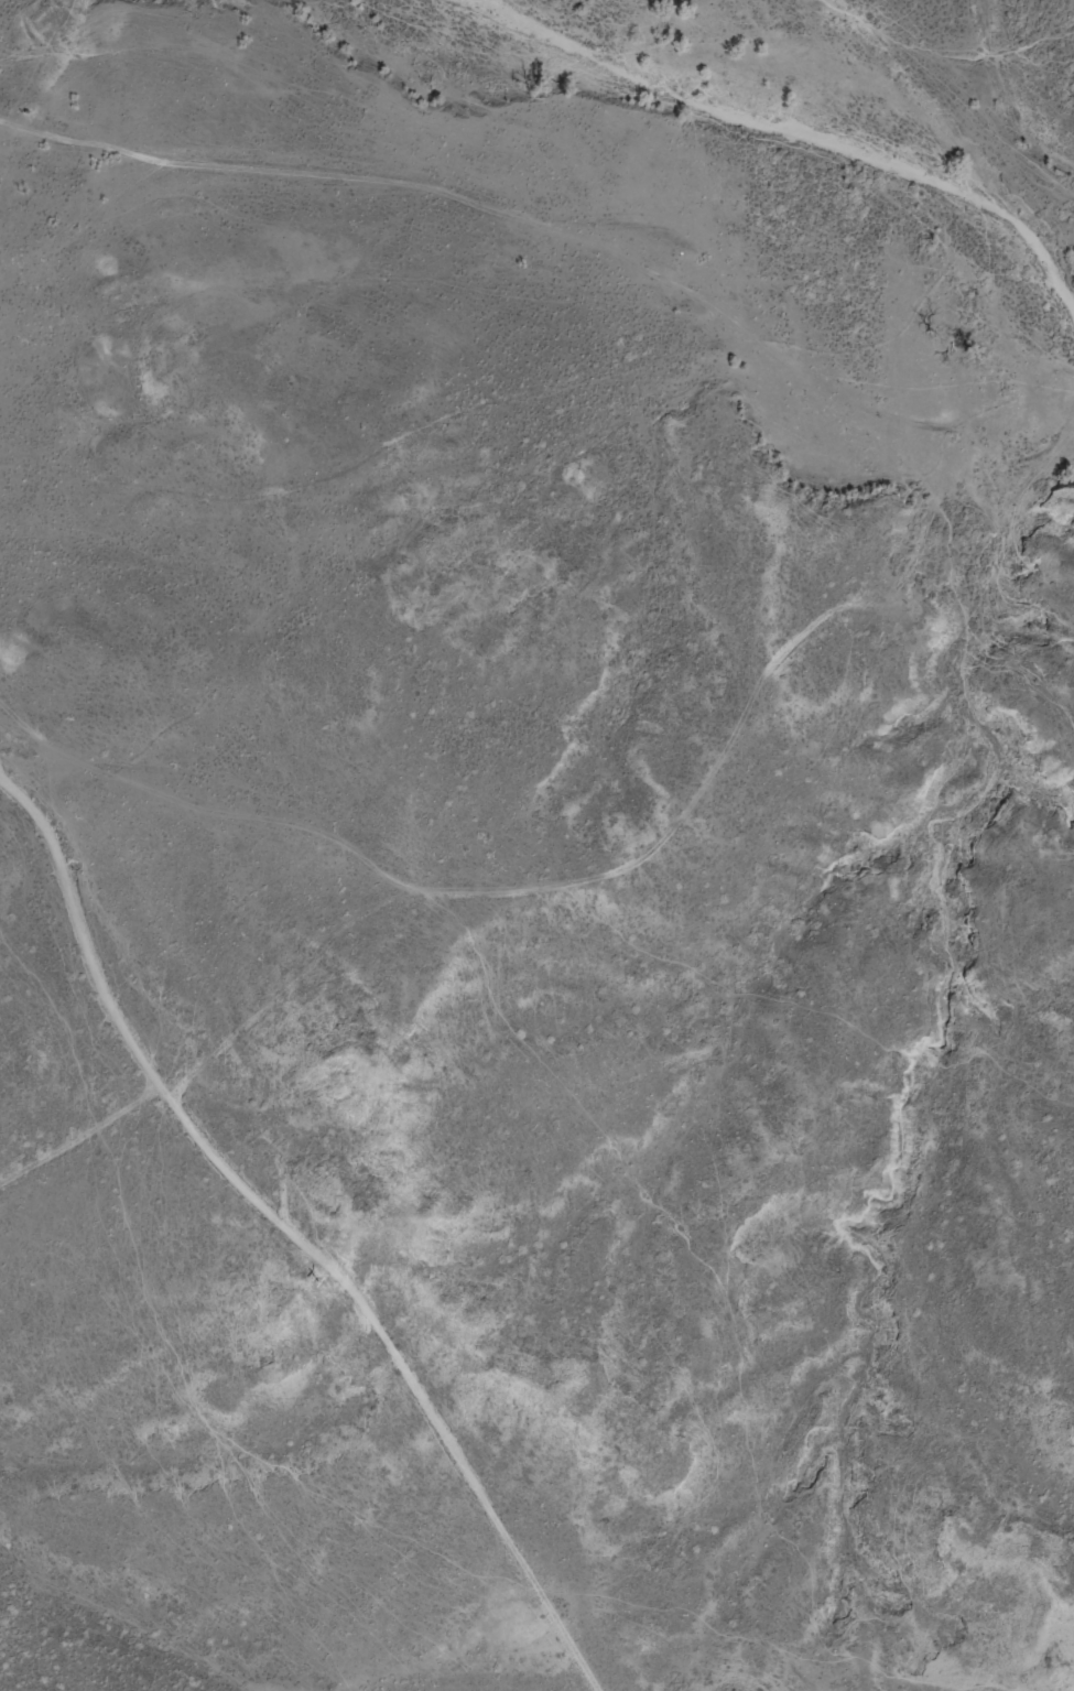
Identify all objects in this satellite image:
river: (789, 138)

